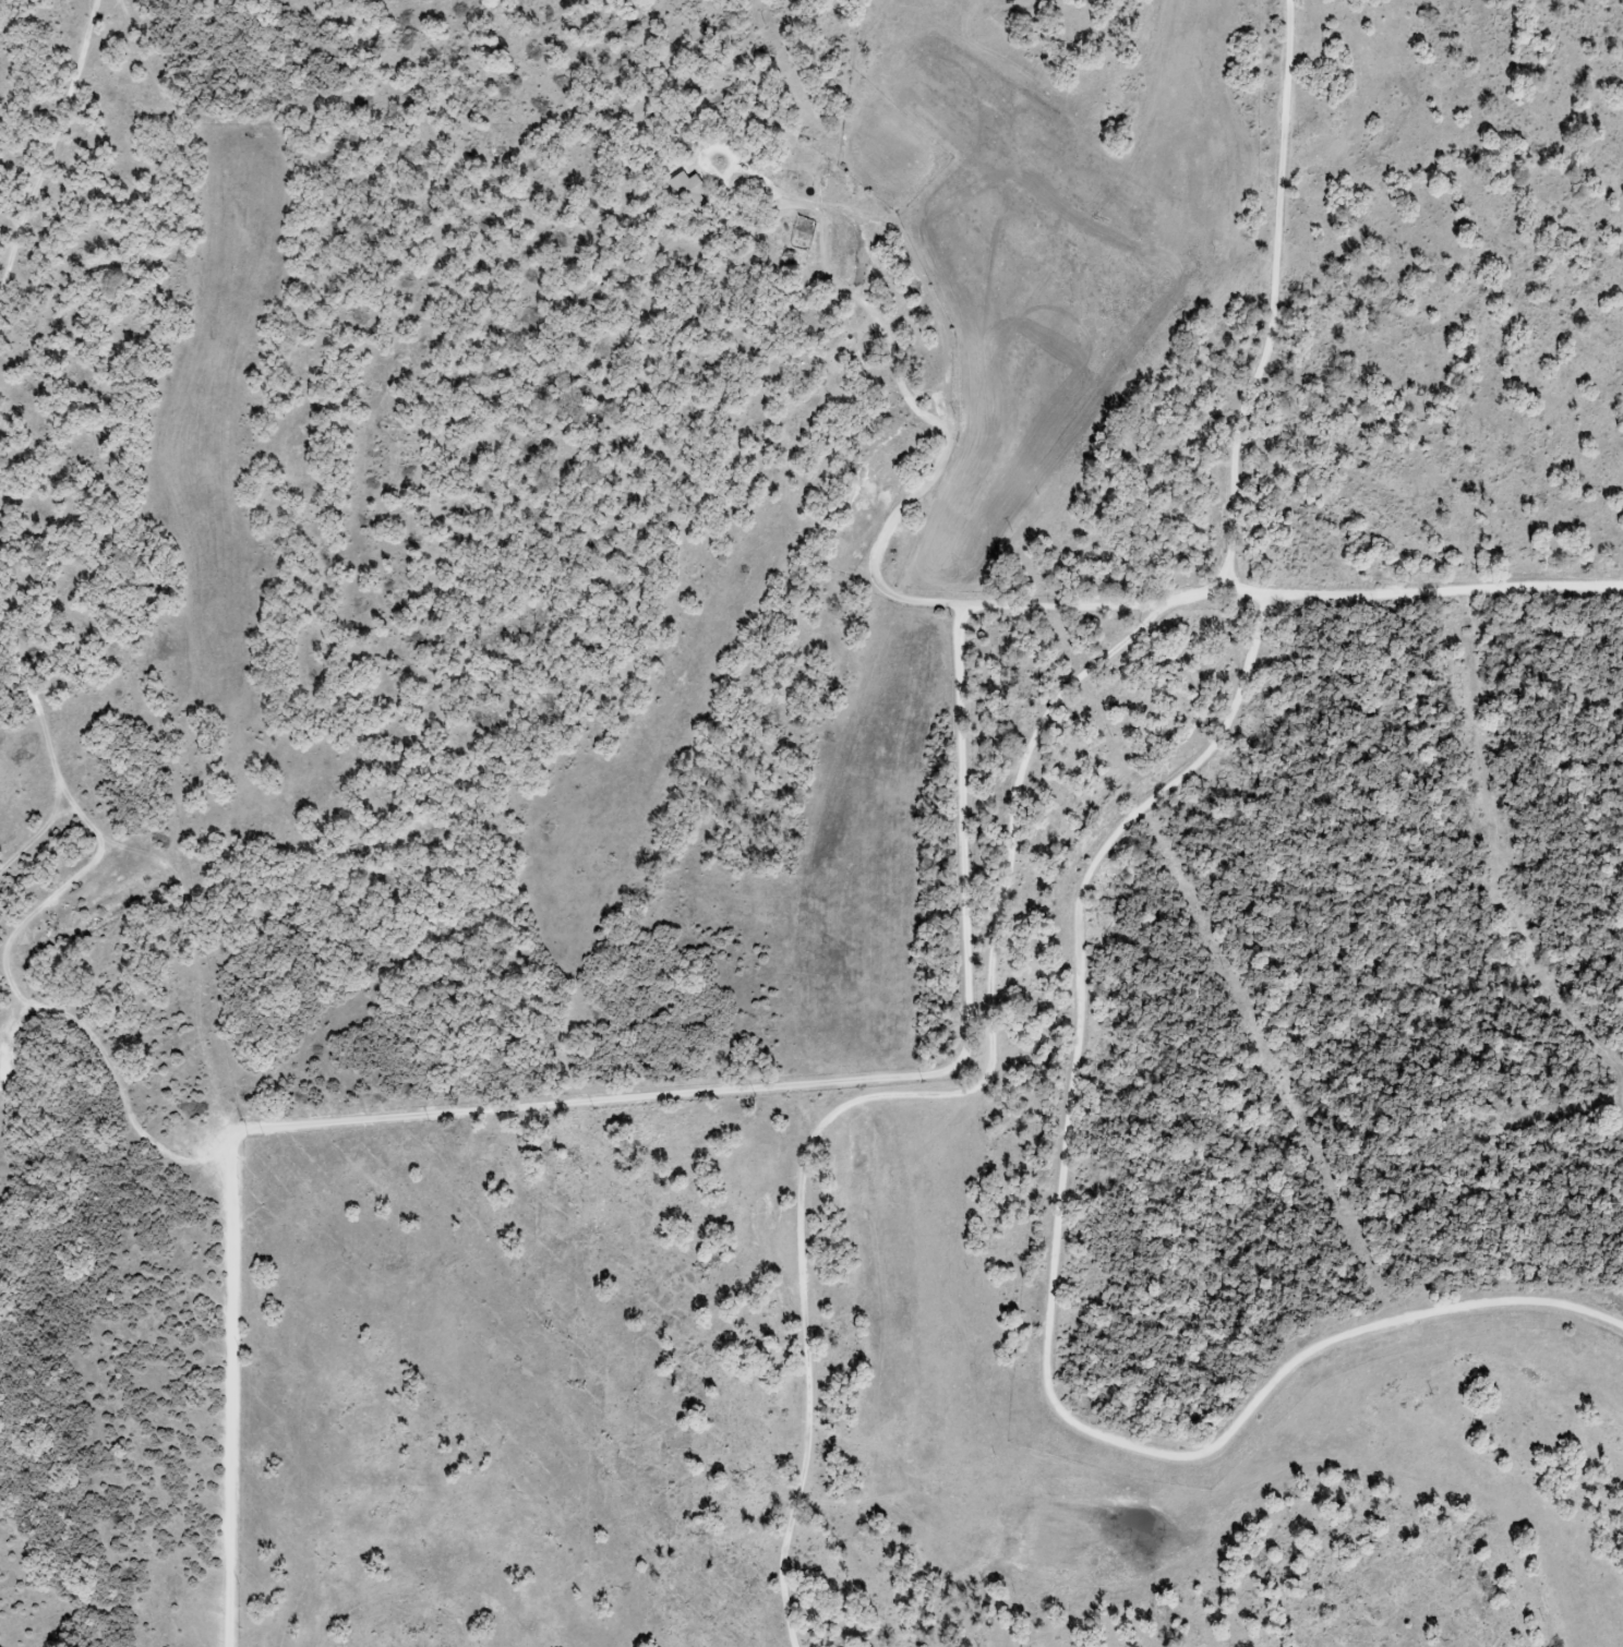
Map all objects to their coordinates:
road: (56, 133)
building: (689, 192)
road: (1204, 659)
road: (37, 749)
road: (899, 1075)

